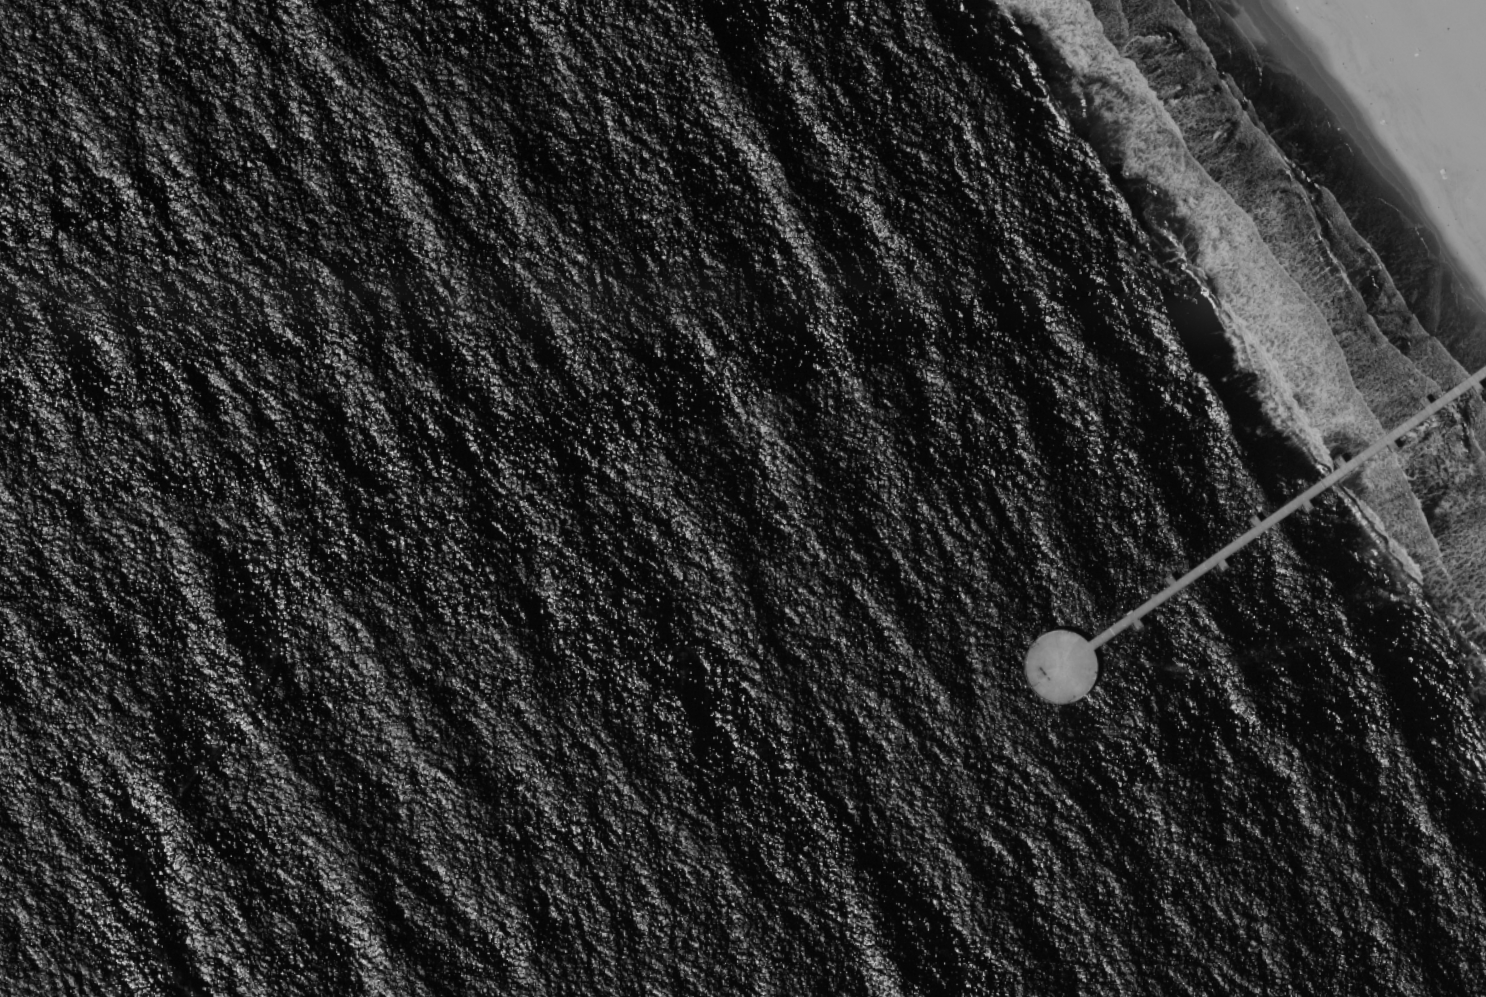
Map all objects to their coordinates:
road: (1264, 522)
pier: (1190, 576)

